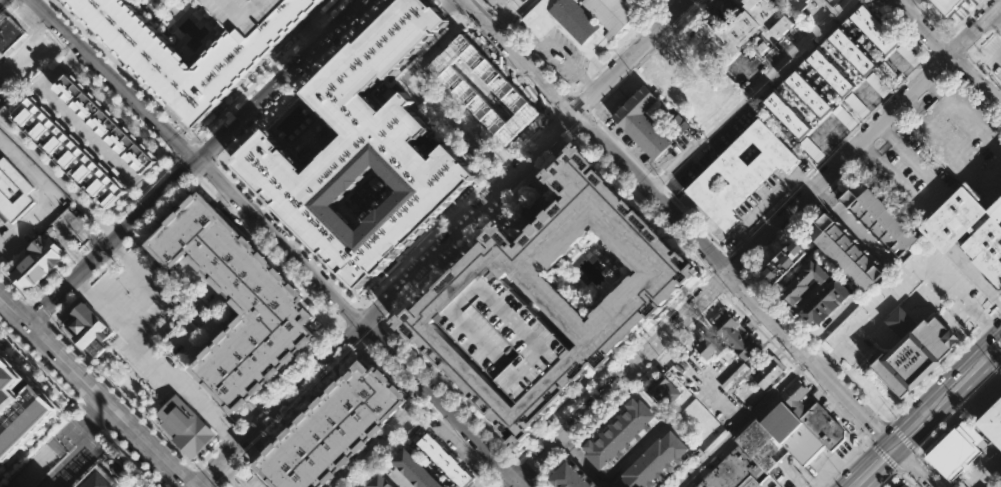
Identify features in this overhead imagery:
road: (0, 0)
building: (832, 0)
road: (15, 1)
building: (502, 2)
road: (914, 2)
parking lot: (649, 3)
building: (958, 3)
building: (801, 4)
road: (907, 4)
road: (450, 5)
road: (697, 6)
building: (946, 7)
road: (7, 10)
road: (490, 10)
road: (330, 12)
road: (319, 13)
building: (247, 14)
parking garage: (247, 14)
road: (511, 16)
road: (29, 17)
building: (580, 19)
road: (1000, 20)
road: (505, 25)
road: (992, 27)
building: (741, 28)
building: (873, 28)
road: (311, 31)
road: (949, 31)
road: (310, 33)
road: (908, 33)
building: (10, 35)
road: (516, 37)
road: (631, 38)
road: (980, 38)
road: (54, 41)
road: (952, 44)
road: (986, 45)
road: (940, 47)
road: (528, 49)
building: (851, 51)
road: (947, 52)
road: (560, 54)
building: (909, 54)
parking lot: (909, 54)
building: (150, 55)
road: (518, 56)
road: (632, 56)
road: (70, 57)
road: (70, 58)
road: (940, 59)
road: (956, 59)
road: (641, 61)
road: (978, 65)
road: (125, 69)
building: (830, 72)
road: (911, 72)
building: (889, 73)
parking lot: (889, 73)
road: (557, 79)
road: (587, 81)
road: (298, 82)
road: (0, 83)
building: (877, 84)
parking lot: (877, 84)
road: (934, 84)
road: (895, 88)
building: (388, 89)
road: (969, 89)
road: (247, 90)
building: (808, 93)
road: (746, 94)
road: (573, 95)
road: (922, 96)
road: (881, 102)
road: (580, 104)
road: (565, 105)
building: (856, 105)
parking lot: (856, 105)
road: (910, 107)
road: (552, 109)
road: (124, 112)
road: (555, 113)
building: (787, 114)
road: (593, 116)
building: (844, 117)
parking lot: (844, 117)
road: (579, 119)
road: (897, 119)
road: (564, 120)
road: (862, 120)
building: (642, 123)
road: (80, 125)
building: (105, 126)
road: (884, 131)
road: (572, 132)
road: (886, 132)
road: (875, 140)
road: (841, 142)
building: (477, 146)
road: (870, 148)
building: (811, 149)
parking lot: (811, 149)
road: (867, 149)
road: (185, 152)
building: (69, 154)
road: (631, 155)
building: (360, 157)
road: (196, 162)
road: (210, 162)
road: (214, 162)
road: (819, 163)
road: (164, 170)
road: (182, 170)
road: (845, 171)
building: (740, 173)
road: (531, 176)
road: (58, 180)
road: (802, 181)
road: (203, 182)
road: (145, 189)
road: (149, 190)
building: (13, 192)
road: (219, 193)
road: (513, 193)
road: (822, 194)
road: (936, 195)
road: (51, 196)
road: (219, 198)
road: (674, 199)
road: (766, 199)
road: (212, 201)
road: (774, 208)
building: (996, 208)
road: (124, 209)
road: (230, 209)
road: (495, 211)
road: (455, 212)
road: (157, 214)
road: (532, 214)
road: (690, 215)
road: (233, 218)
building: (879, 219)
building: (955, 219)
road: (243, 222)
road: (105, 226)
road: (853, 228)
road: (182, 231)
road: (474, 232)
road: (98, 233)
road: (746, 237)
road: (92, 238)
road: (277, 241)
road: (1, 243)
road: (718, 244)
road: (84, 246)
road: (753, 246)
building: (987, 246)
road: (119, 253)
road: (76, 254)
building: (846, 254)
road: (729, 257)
road: (449, 258)
road: (448, 259)
building: (36, 261)
road: (404, 261)
road: (749, 264)
building: (785, 264)
road: (722, 265)
road: (735, 266)
road: (102, 270)
road: (710, 271)
road: (743, 272)
road: (466, 277)
road: (721, 278)
road: (734, 278)
road: (912, 279)
road: (694, 283)
building: (806, 284)
road: (83, 288)
road: (724, 288)
road: (160, 291)
road: (36, 293)
building: (552, 296)
road: (386, 300)
road: (755, 300)
building: (236, 303)
building: (827, 303)
road: (230, 308)
road: (996, 311)
road: (40, 313)
road: (354, 315)
road: (369, 316)
road: (335, 317)
road: (985, 321)
road: (343, 322)
road: (381, 324)
building: (87, 326)
road: (356, 329)
road: (370, 330)
road: (685, 330)
road: (808, 336)
building: (506, 337)
parking garage: (506, 337)
building: (736, 337)
road: (364, 339)
building: (708, 346)
road: (819, 346)
building: (95, 347)
building: (915, 351)
road: (378, 355)
road: (831, 358)
road: (157, 361)
road: (419, 362)
road: (334, 368)
road: (798, 369)
road: (998, 369)
building: (769, 372)
road: (992, 376)
road: (807, 378)
road: (224, 381)
road: (982, 386)
road: (819, 388)
building: (662, 391)
road: (94, 392)
road: (122, 394)
building: (795, 396)
road: (830, 396)
road: (908, 397)
road: (972, 397)
road: (421, 400)
building: (19, 403)
road: (418, 403)
road: (726, 403)
road: (296, 407)
road: (962, 407)
road: (254, 408)
road: (434, 412)
road: (256, 413)
road: (93, 414)
road: (848, 414)
road: (928, 415)
road: (94, 417)
road: (953, 417)
road: (242, 420)
building: (782, 421)
road: (446, 423)
road: (742, 423)
building: (992, 423)
building: (824, 426)
building: (186, 427)
road: (863, 429)
building: (334, 431)
building: (619, 431)
road: (228, 433)
road: (867, 436)
road: (903, 438)
road: (463, 441)
road: (257, 444)
building: (804, 444)
road: (258, 445)
road: (568, 445)
building: (762, 445)
road: (374, 446)
road: (456, 446)
building: (956, 450)
road: (636, 451)
road: (922, 454)
road: (883, 455)
road: (133, 457)
road: (479, 457)
road: (245, 458)
road: (73, 459)
building: (446, 461)
road: (583, 461)
building: (655, 461)
road: (908, 461)
road: (846, 464)
road: (544, 468)
road: (490, 469)
road: (520, 469)
road: (281, 470)
building: (414, 470)
building: (735, 471)
road: (230, 473)
road: (508, 473)
building: (572, 475)
road: (204, 476)
road: (229, 477)
road: (888, 477)
building: (96, 478)
road: (187, 478)
road: (905, 478)
road: (399, 480)
road: (498, 481)
road: (527, 481)
parking lot: (252, 482)
building: (379, 482)
road: (221, 483)
road: (495, 483)
road: (503, 484)
road: (476, 486)
building: (903, 486)

